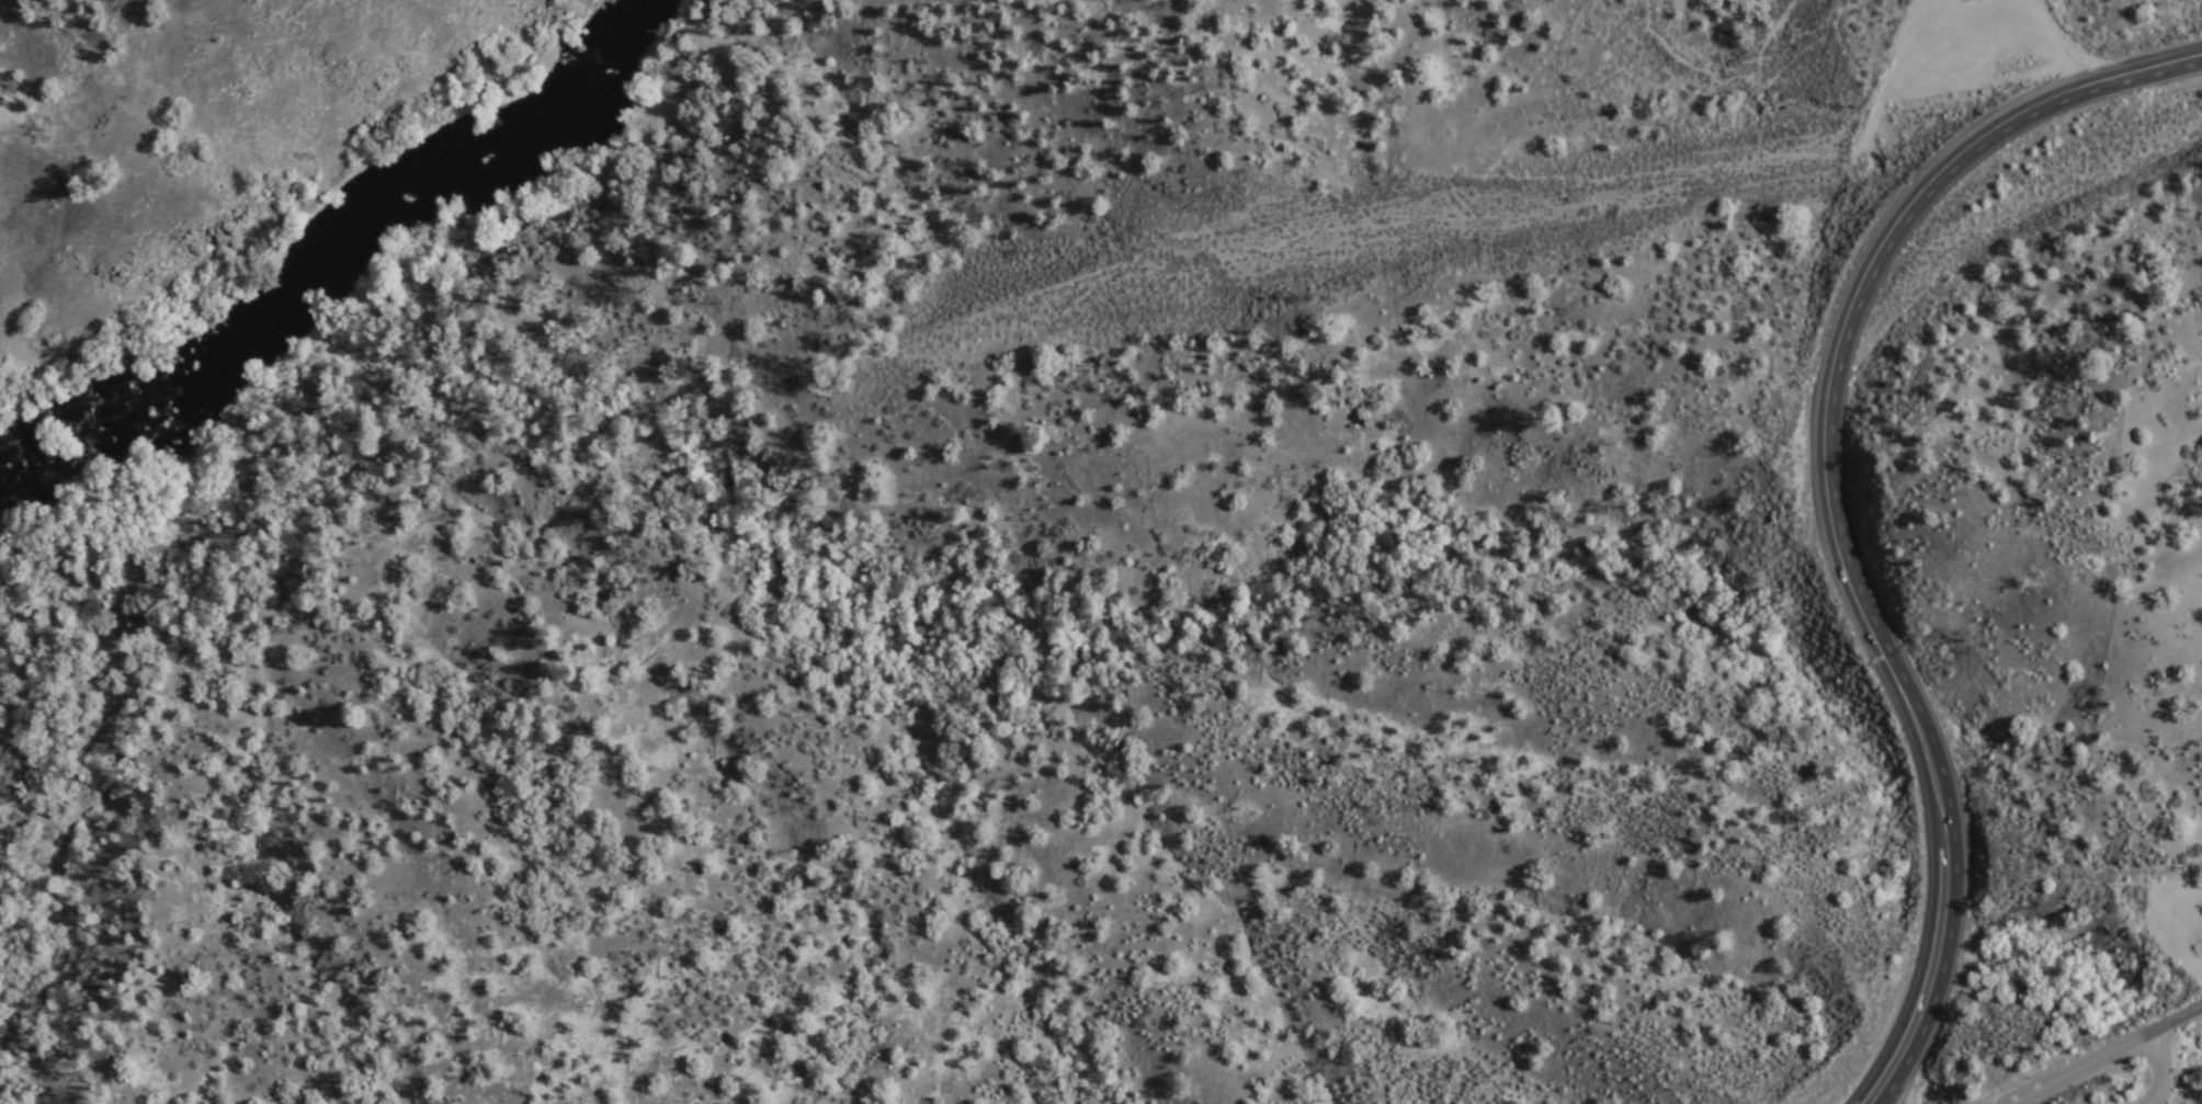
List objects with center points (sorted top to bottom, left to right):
river: (497, 156)
road: (1700, 178)
river: (209, 396)
river: (41, 483)
road: (1831, 501)
road: (2104, 1055)

